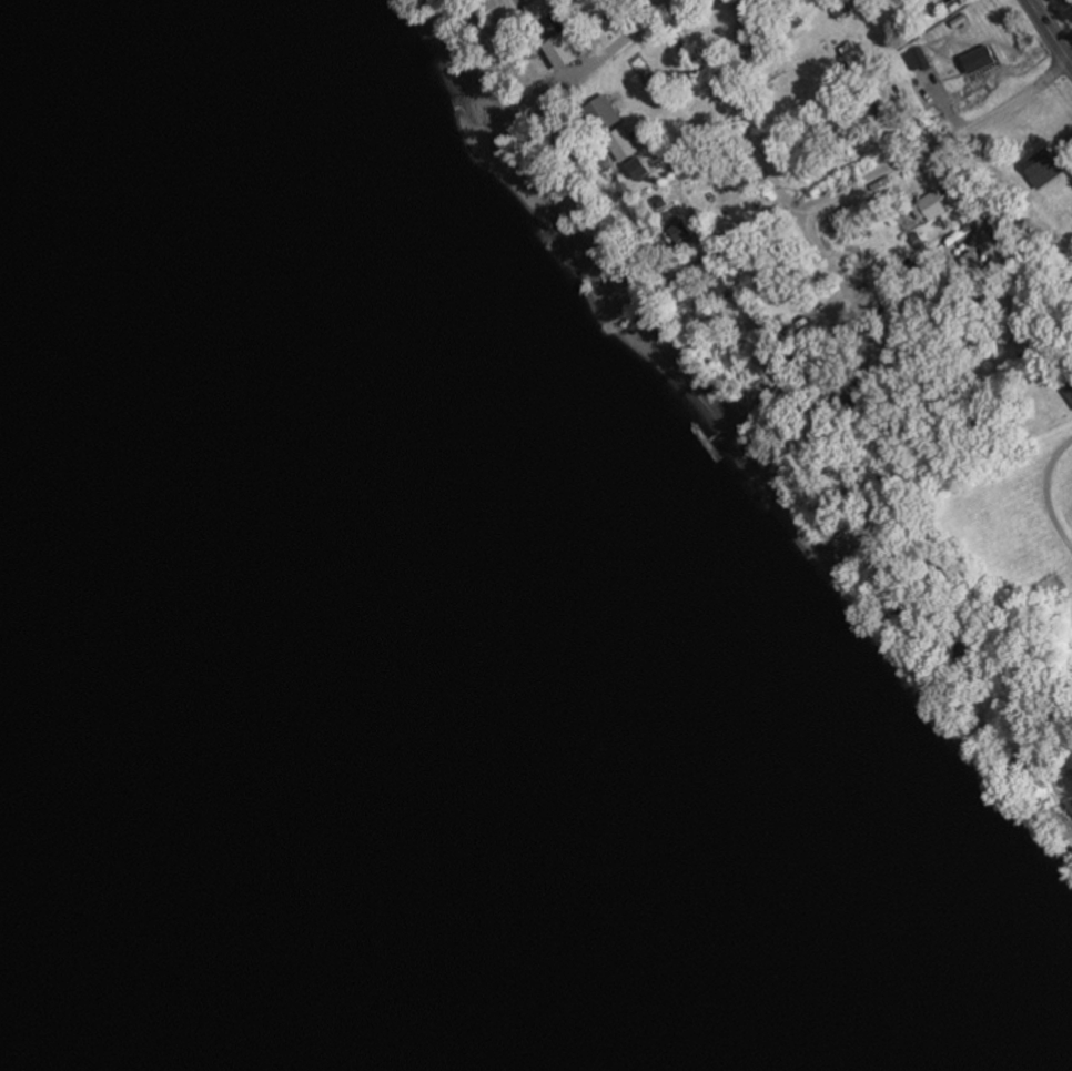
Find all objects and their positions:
building: (749, 0)
building: (539, 8)
road: (1049, 33)
road: (550, 37)
road: (615, 43)
building: (558, 46)
building: (918, 59)
building: (981, 60)
building: (606, 111)
road: (725, 112)
building: (623, 144)
road: (897, 161)
building: (639, 168)
building: (1043, 168)
building: (938, 203)
building: (682, 231)
building: (777, 371)
pier: (696, 451)
road: (1044, 493)
river: (140, 880)

